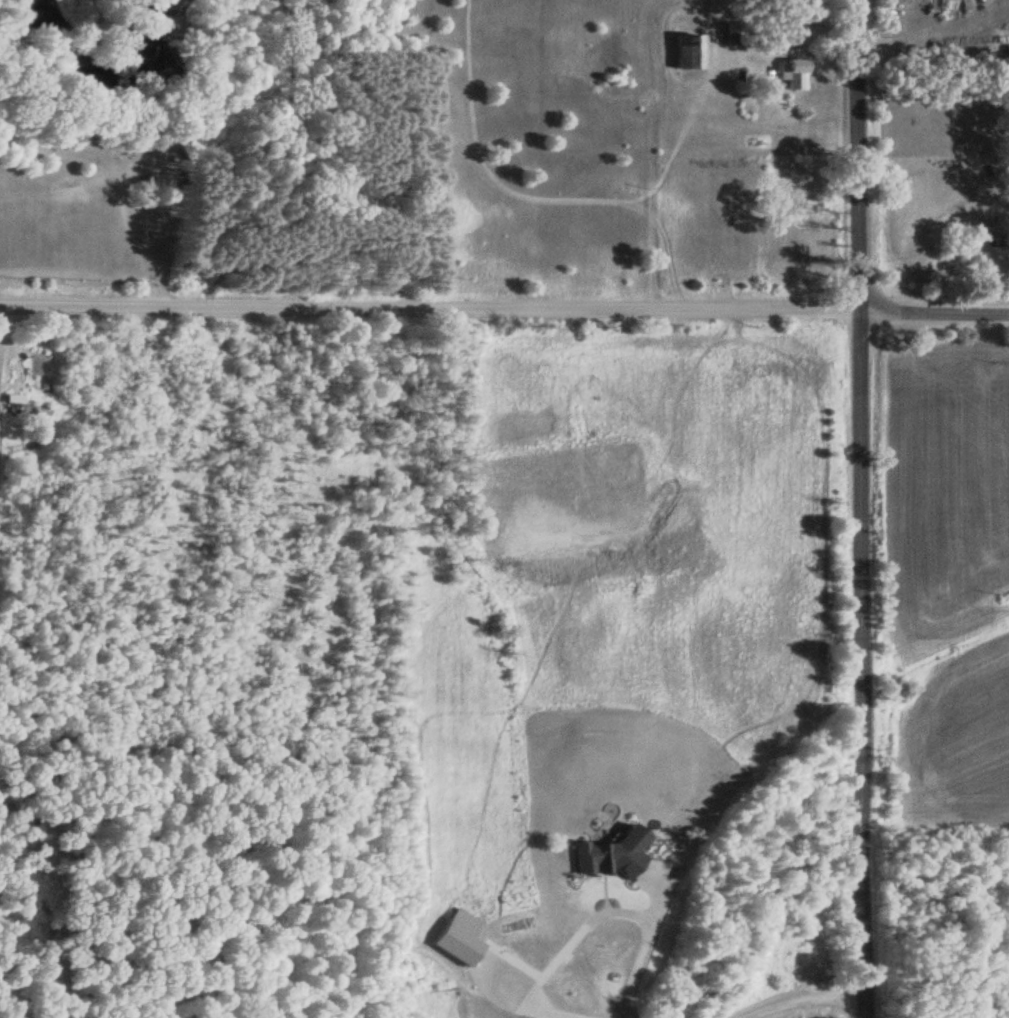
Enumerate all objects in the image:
building: (734, 34)
building: (690, 52)
building: (1007, 55)
river: (99, 65)
building: (797, 68)
building: (203, 138)
road: (428, 307)
road: (933, 312)
building: (22, 406)
road: (857, 508)
building: (612, 855)

